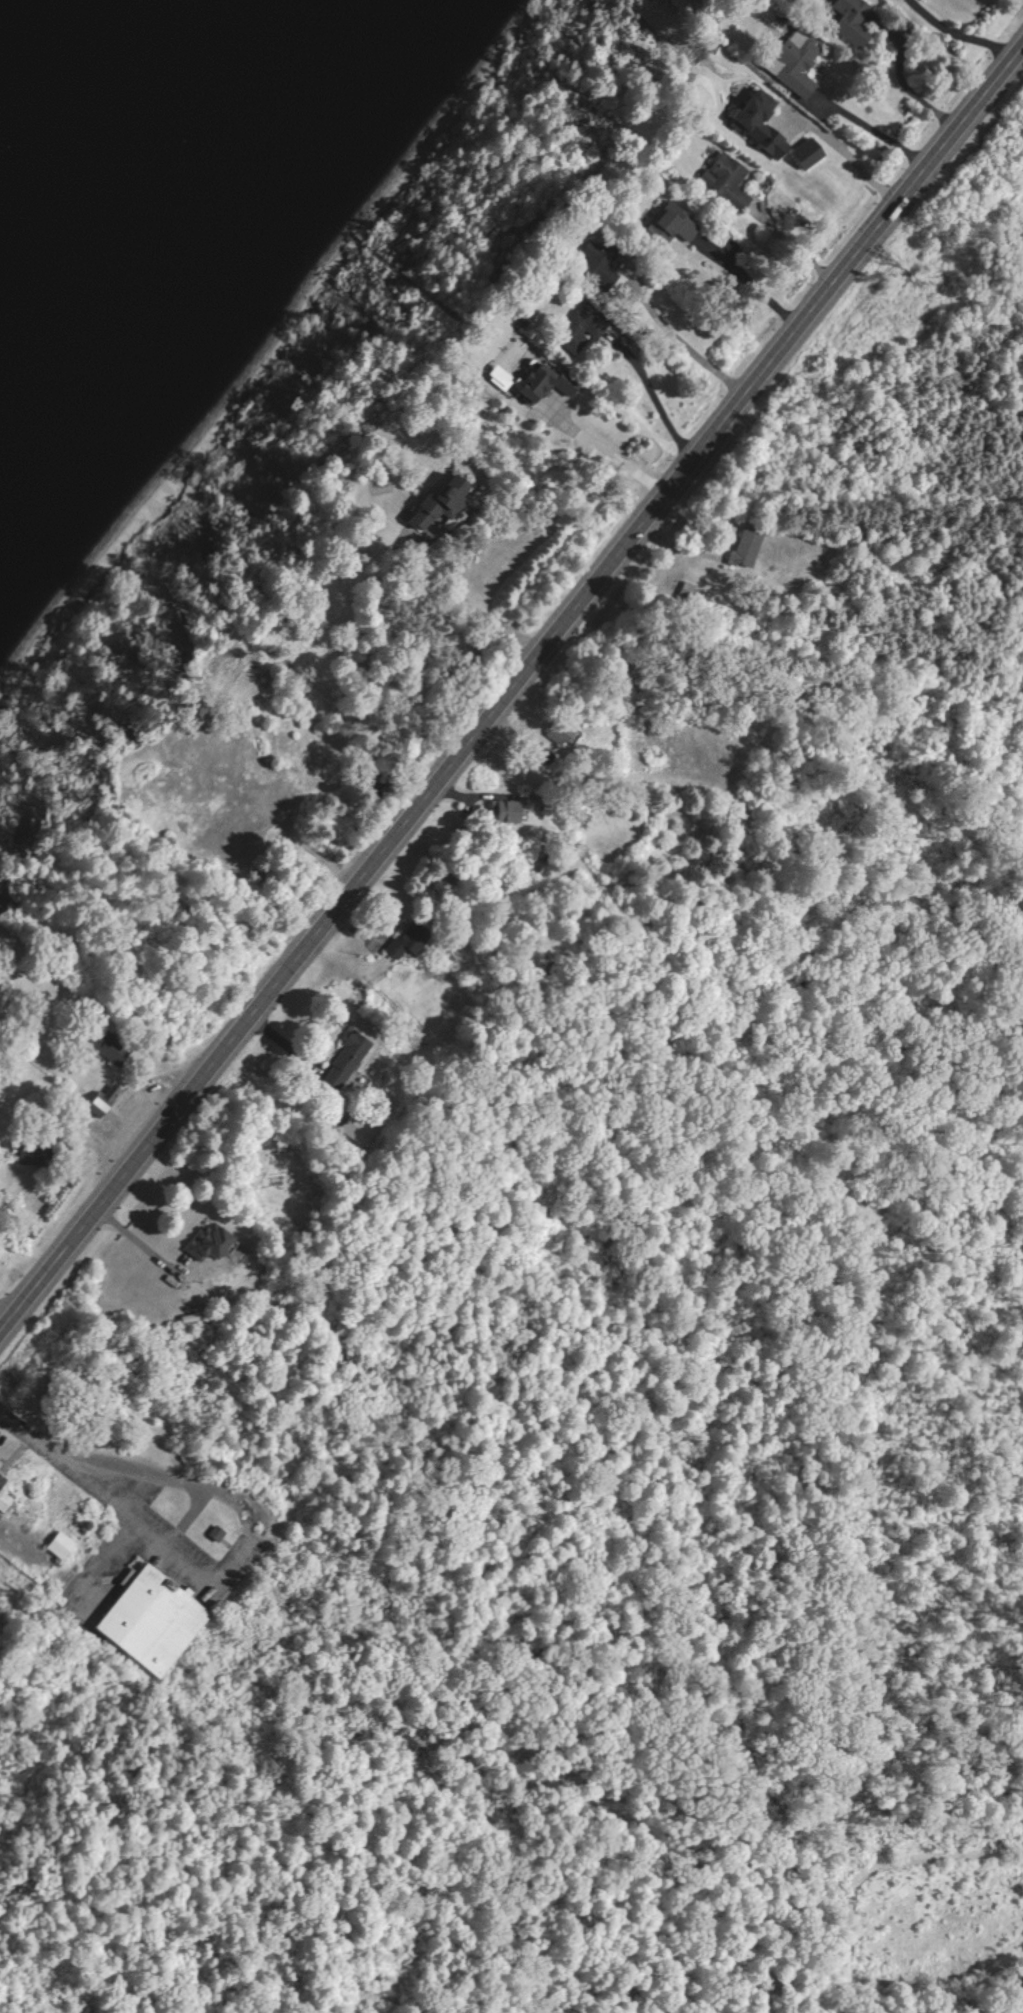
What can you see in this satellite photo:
building: (849, 21)
road: (966, 32)
building: (792, 64)
building: (753, 122)
road: (852, 150)
building: (802, 155)
building: (723, 181)
building: (666, 226)
road: (800, 242)
building: (593, 264)
road: (747, 282)
building: (575, 329)
road: (693, 345)
building: (495, 378)
building: (527, 383)
building: (558, 384)
road: (660, 399)
road: (614, 454)
building: (432, 504)
building: (742, 551)
building: (686, 595)
road: (510, 691)
building: (556, 731)
building: (502, 812)
building: (400, 946)
building: (112, 1049)
building: (347, 1059)
building: (35, 1156)
building: (211, 1243)
road: (139, 1244)
road: (6, 1316)
road: (24, 1431)
building: (5, 1493)
building: (218, 1534)
building: (62, 1546)
road: (242, 1549)
building: (151, 1620)

